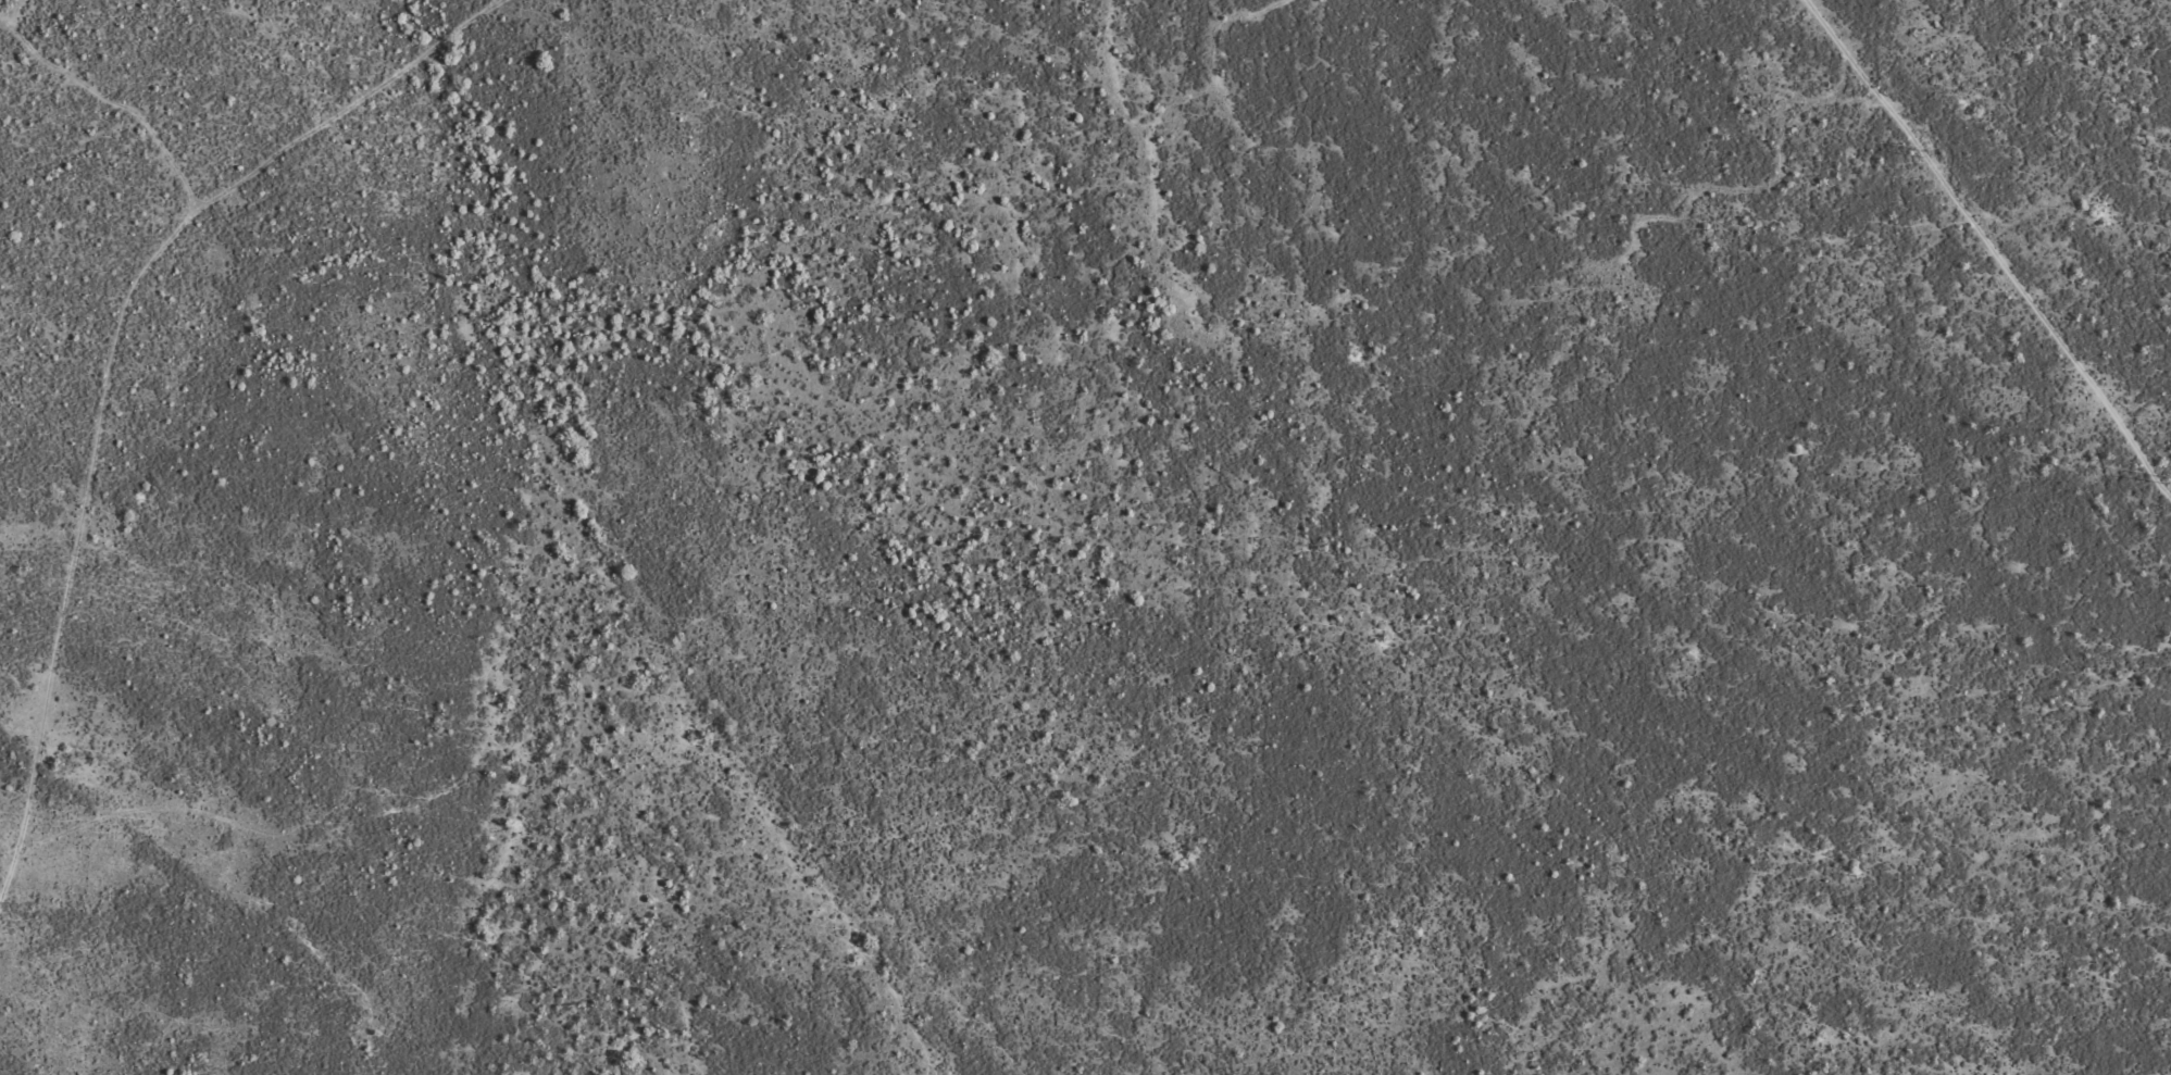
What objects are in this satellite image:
power tower: (1922, 157)
power tower: (2164, 483)

